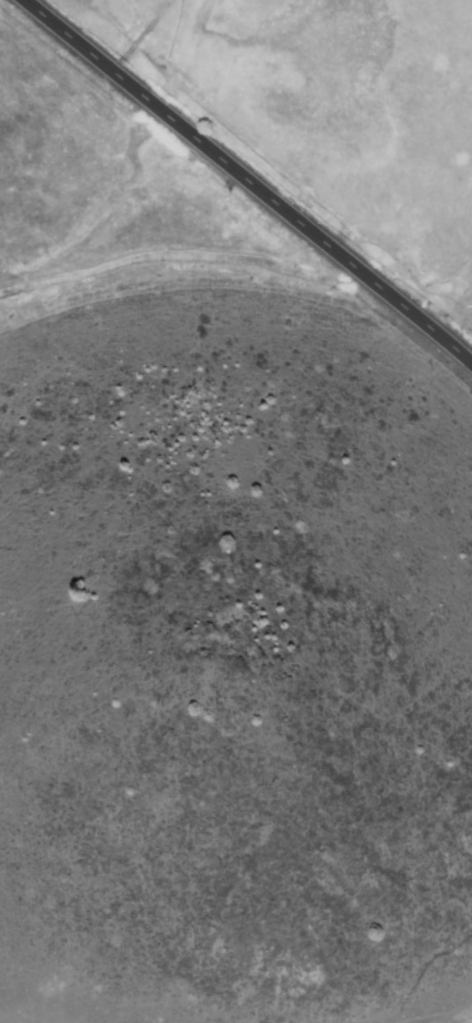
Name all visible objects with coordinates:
road: (244, 186)

